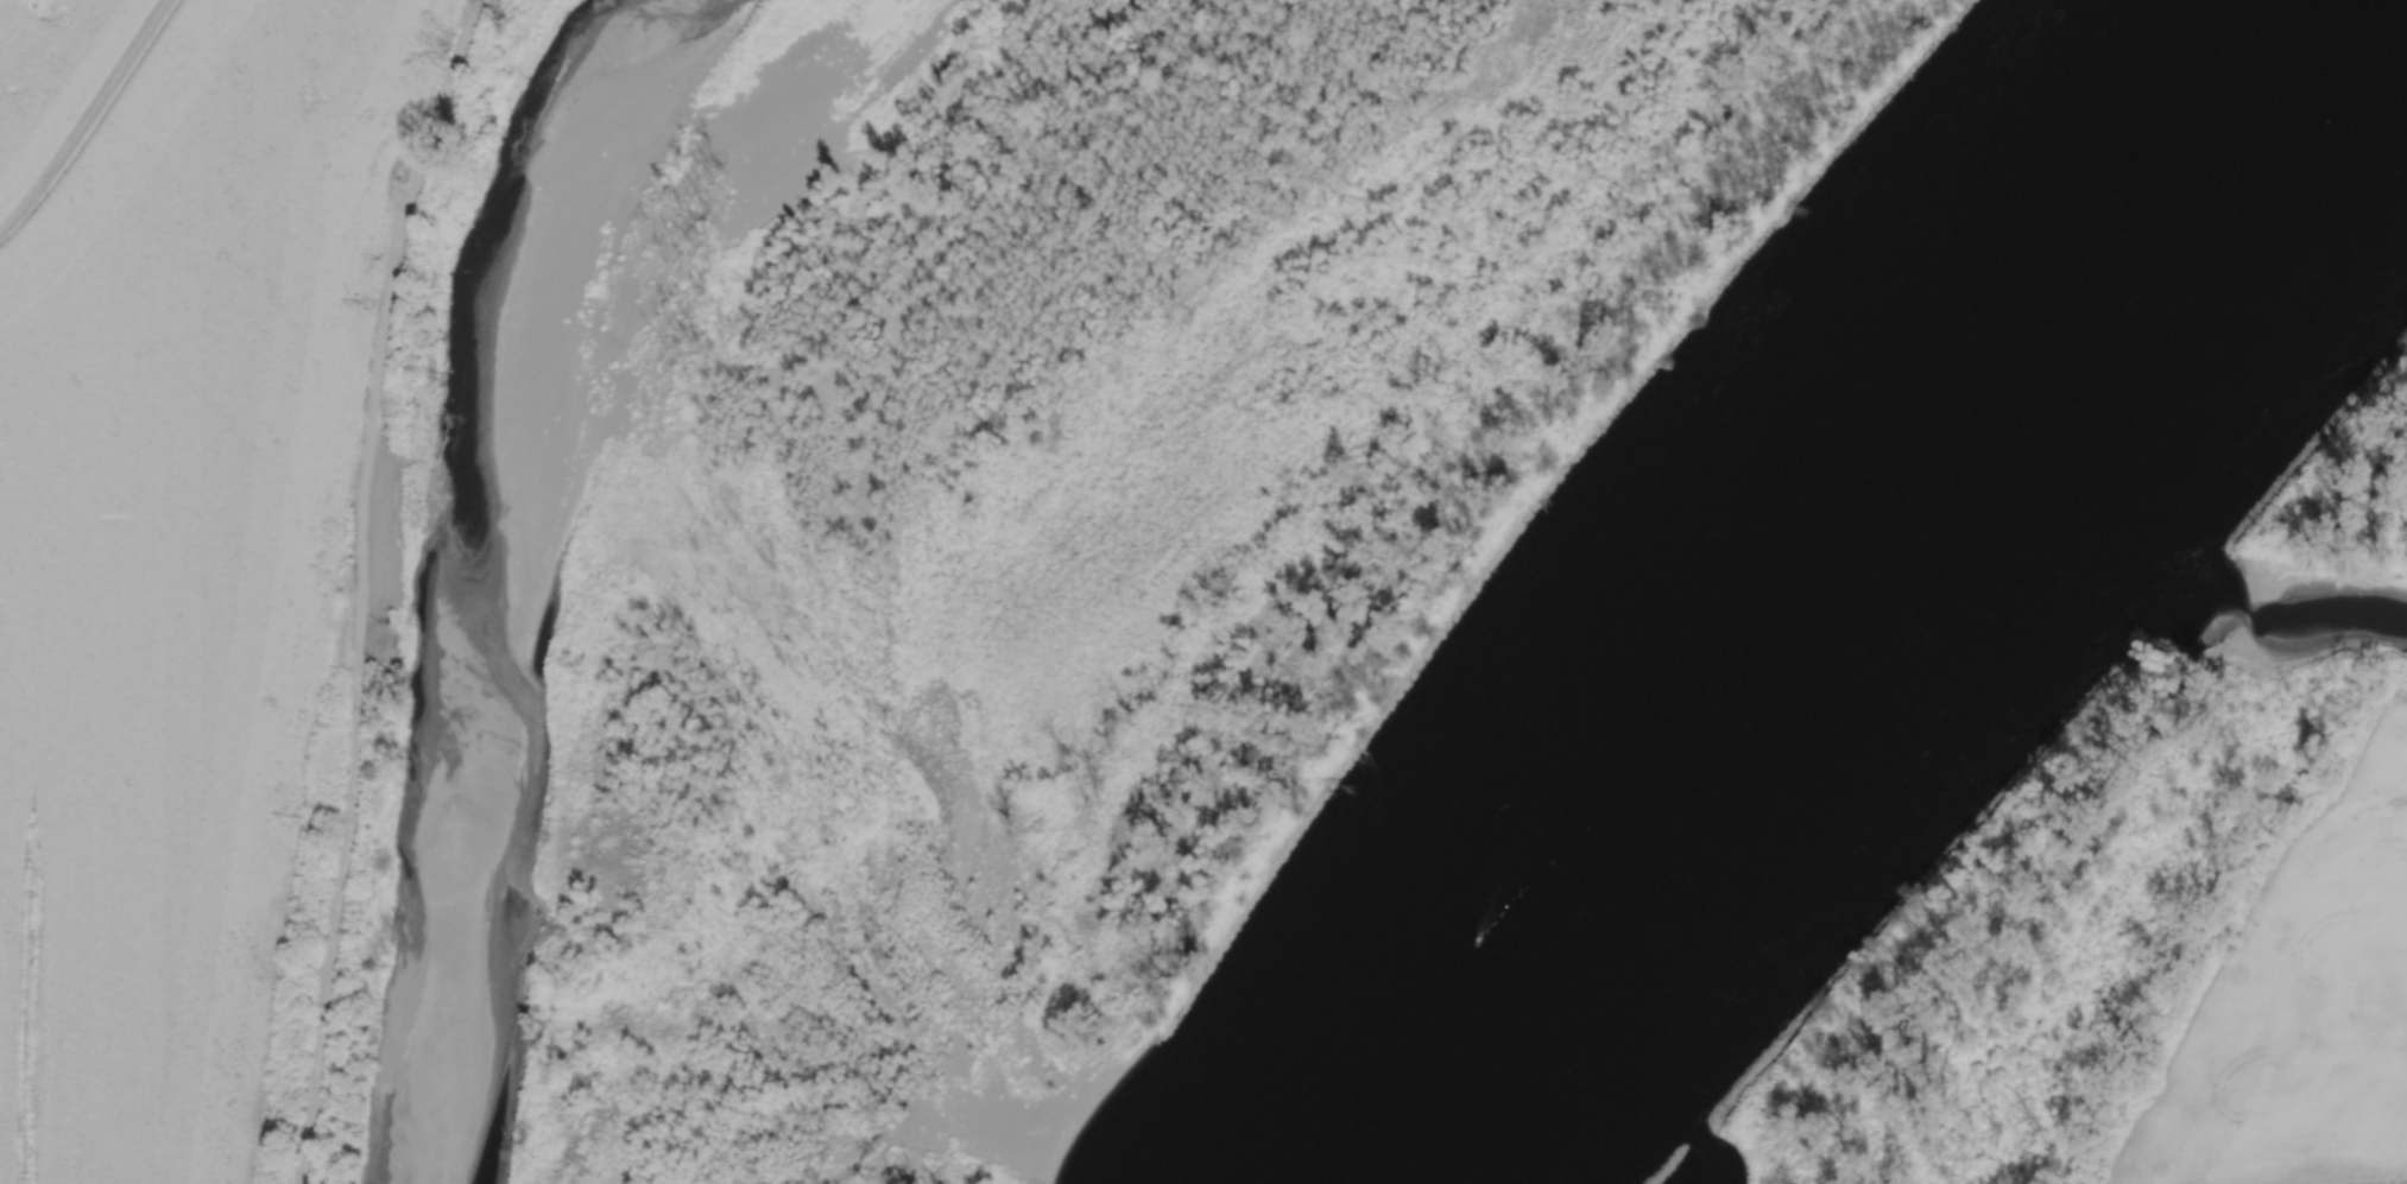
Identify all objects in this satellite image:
road: (89, 122)
river: (1906, 566)
road: (362, 585)

